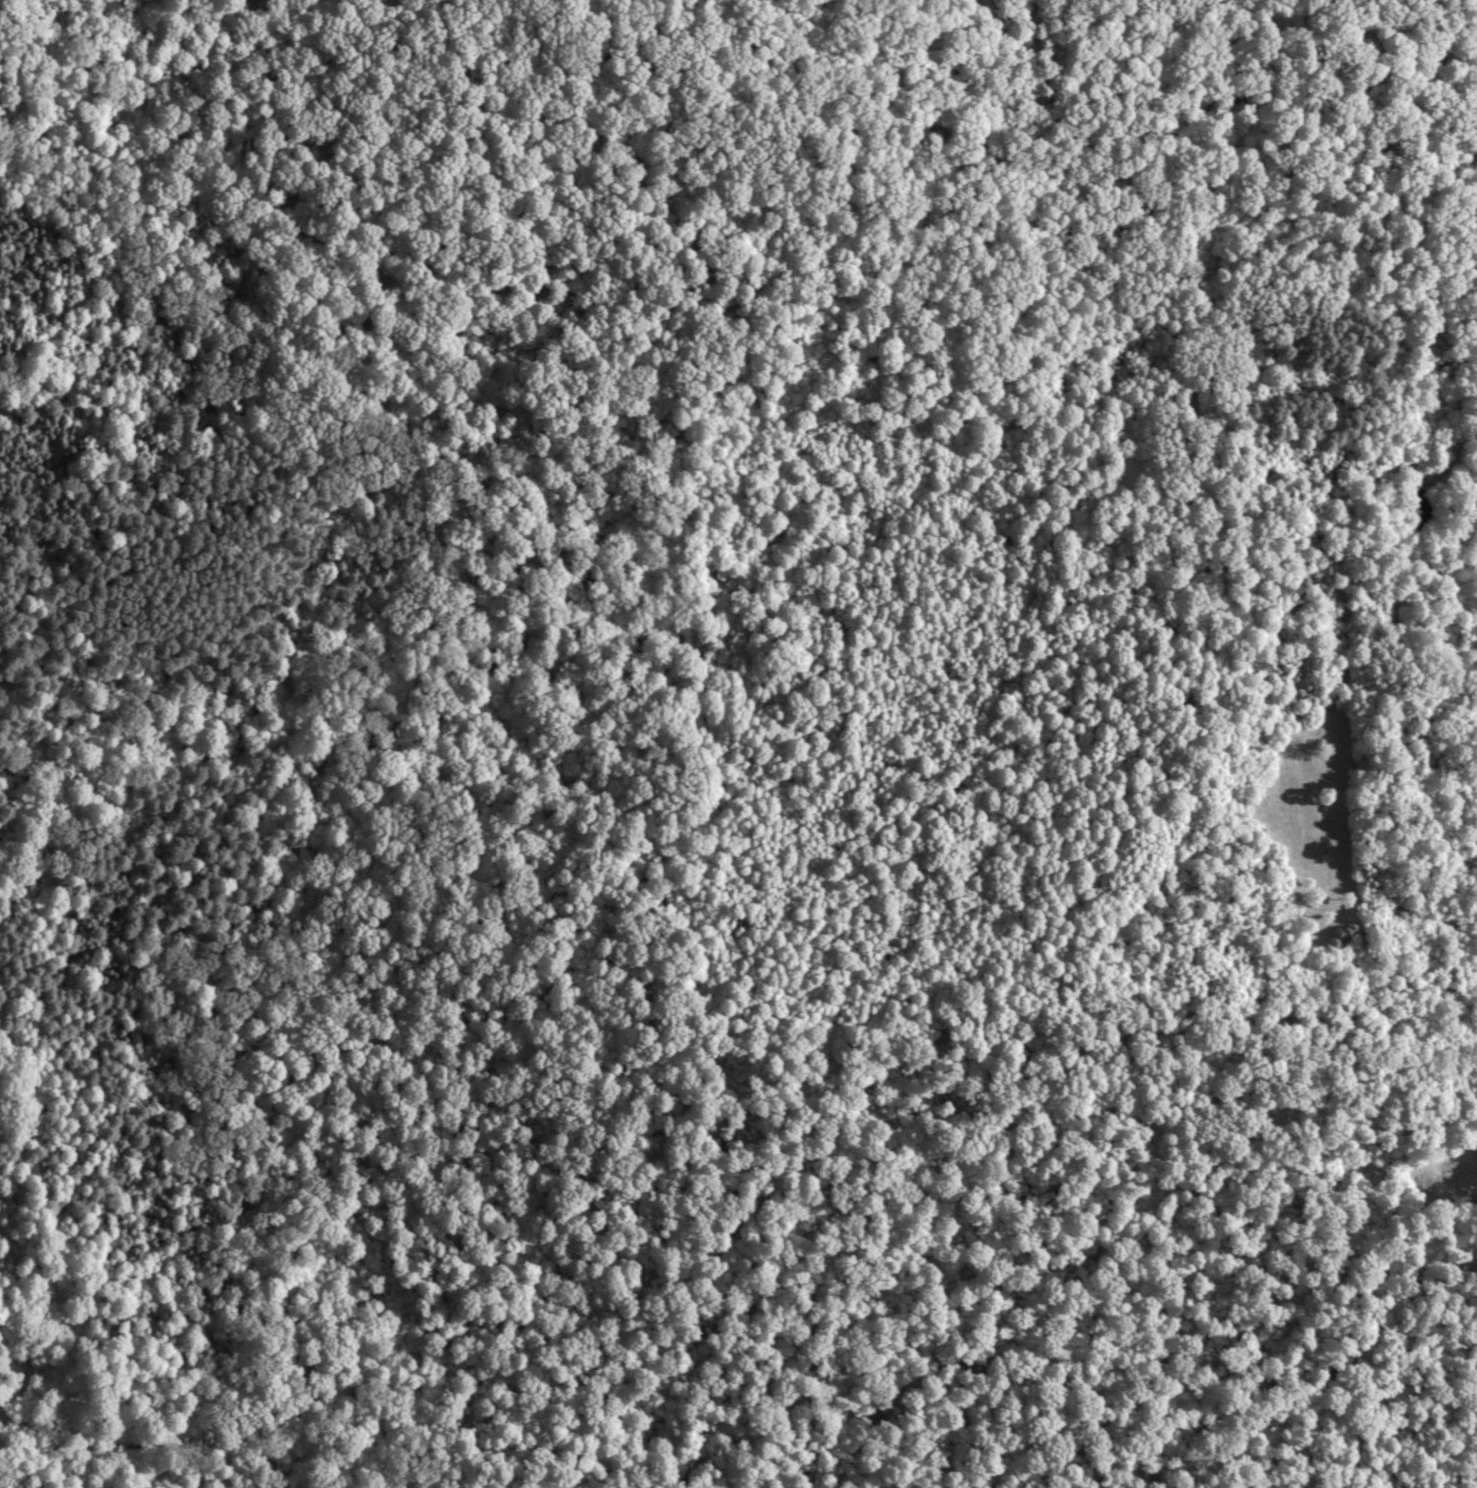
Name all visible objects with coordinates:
road: (148, 1395)

